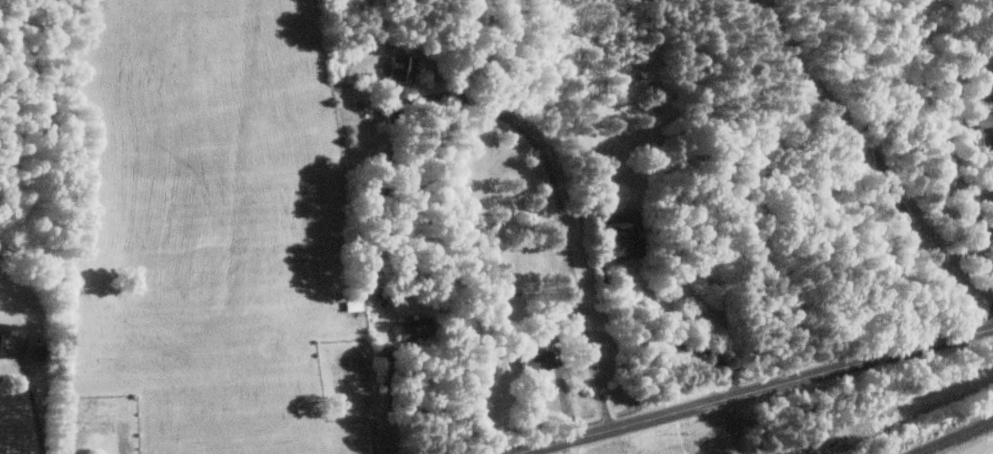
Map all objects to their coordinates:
building: (405, 68)
building: (986, 119)
road: (565, 212)
building: (356, 304)
building: (419, 328)
building: (4, 336)
building: (541, 359)
road: (758, 391)
road: (35, 402)
road: (391, 406)
road: (731, 427)
railway: (957, 438)
road: (575, 448)
road: (989, 452)

